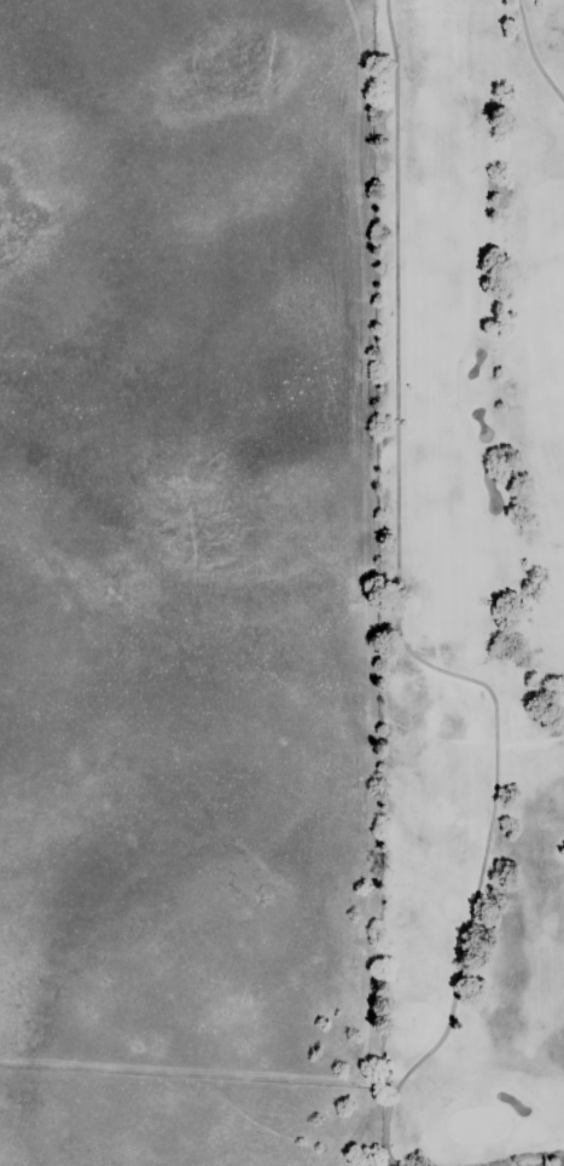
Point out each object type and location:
road: (530, 56)
park: (469, 579)
park: (187, 584)
road: (396, 627)
road: (341, 1135)

